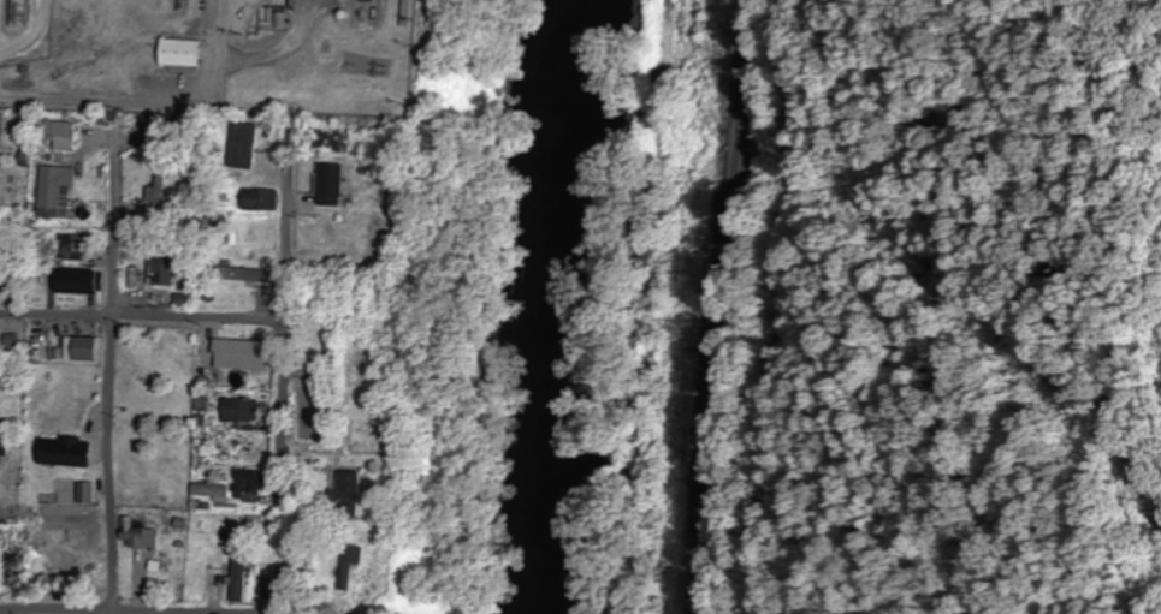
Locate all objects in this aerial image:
building: (174, 53)
road: (153, 103)
building: (51, 133)
building: (325, 141)
building: (241, 147)
building: (327, 185)
building: (159, 186)
building: (48, 192)
building: (257, 201)
building: (371, 243)
building: (67, 250)
building: (158, 266)
building: (238, 275)
building: (69, 281)
road: (727, 305)
river: (539, 306)
road: (290, 320)
road: (192, 321)
building: (77, 350)
road: (107, 358)
building: (330, 359)
building: (238, 411)
building: (0, 448)
building: (58, 452)
building: (173, 476)
building: (245, 481)
building: (195, 490)
building: (79, 494)
building: (343, 496)
building: (129, 532)
building: (349, 568)
road: (88, 610)

